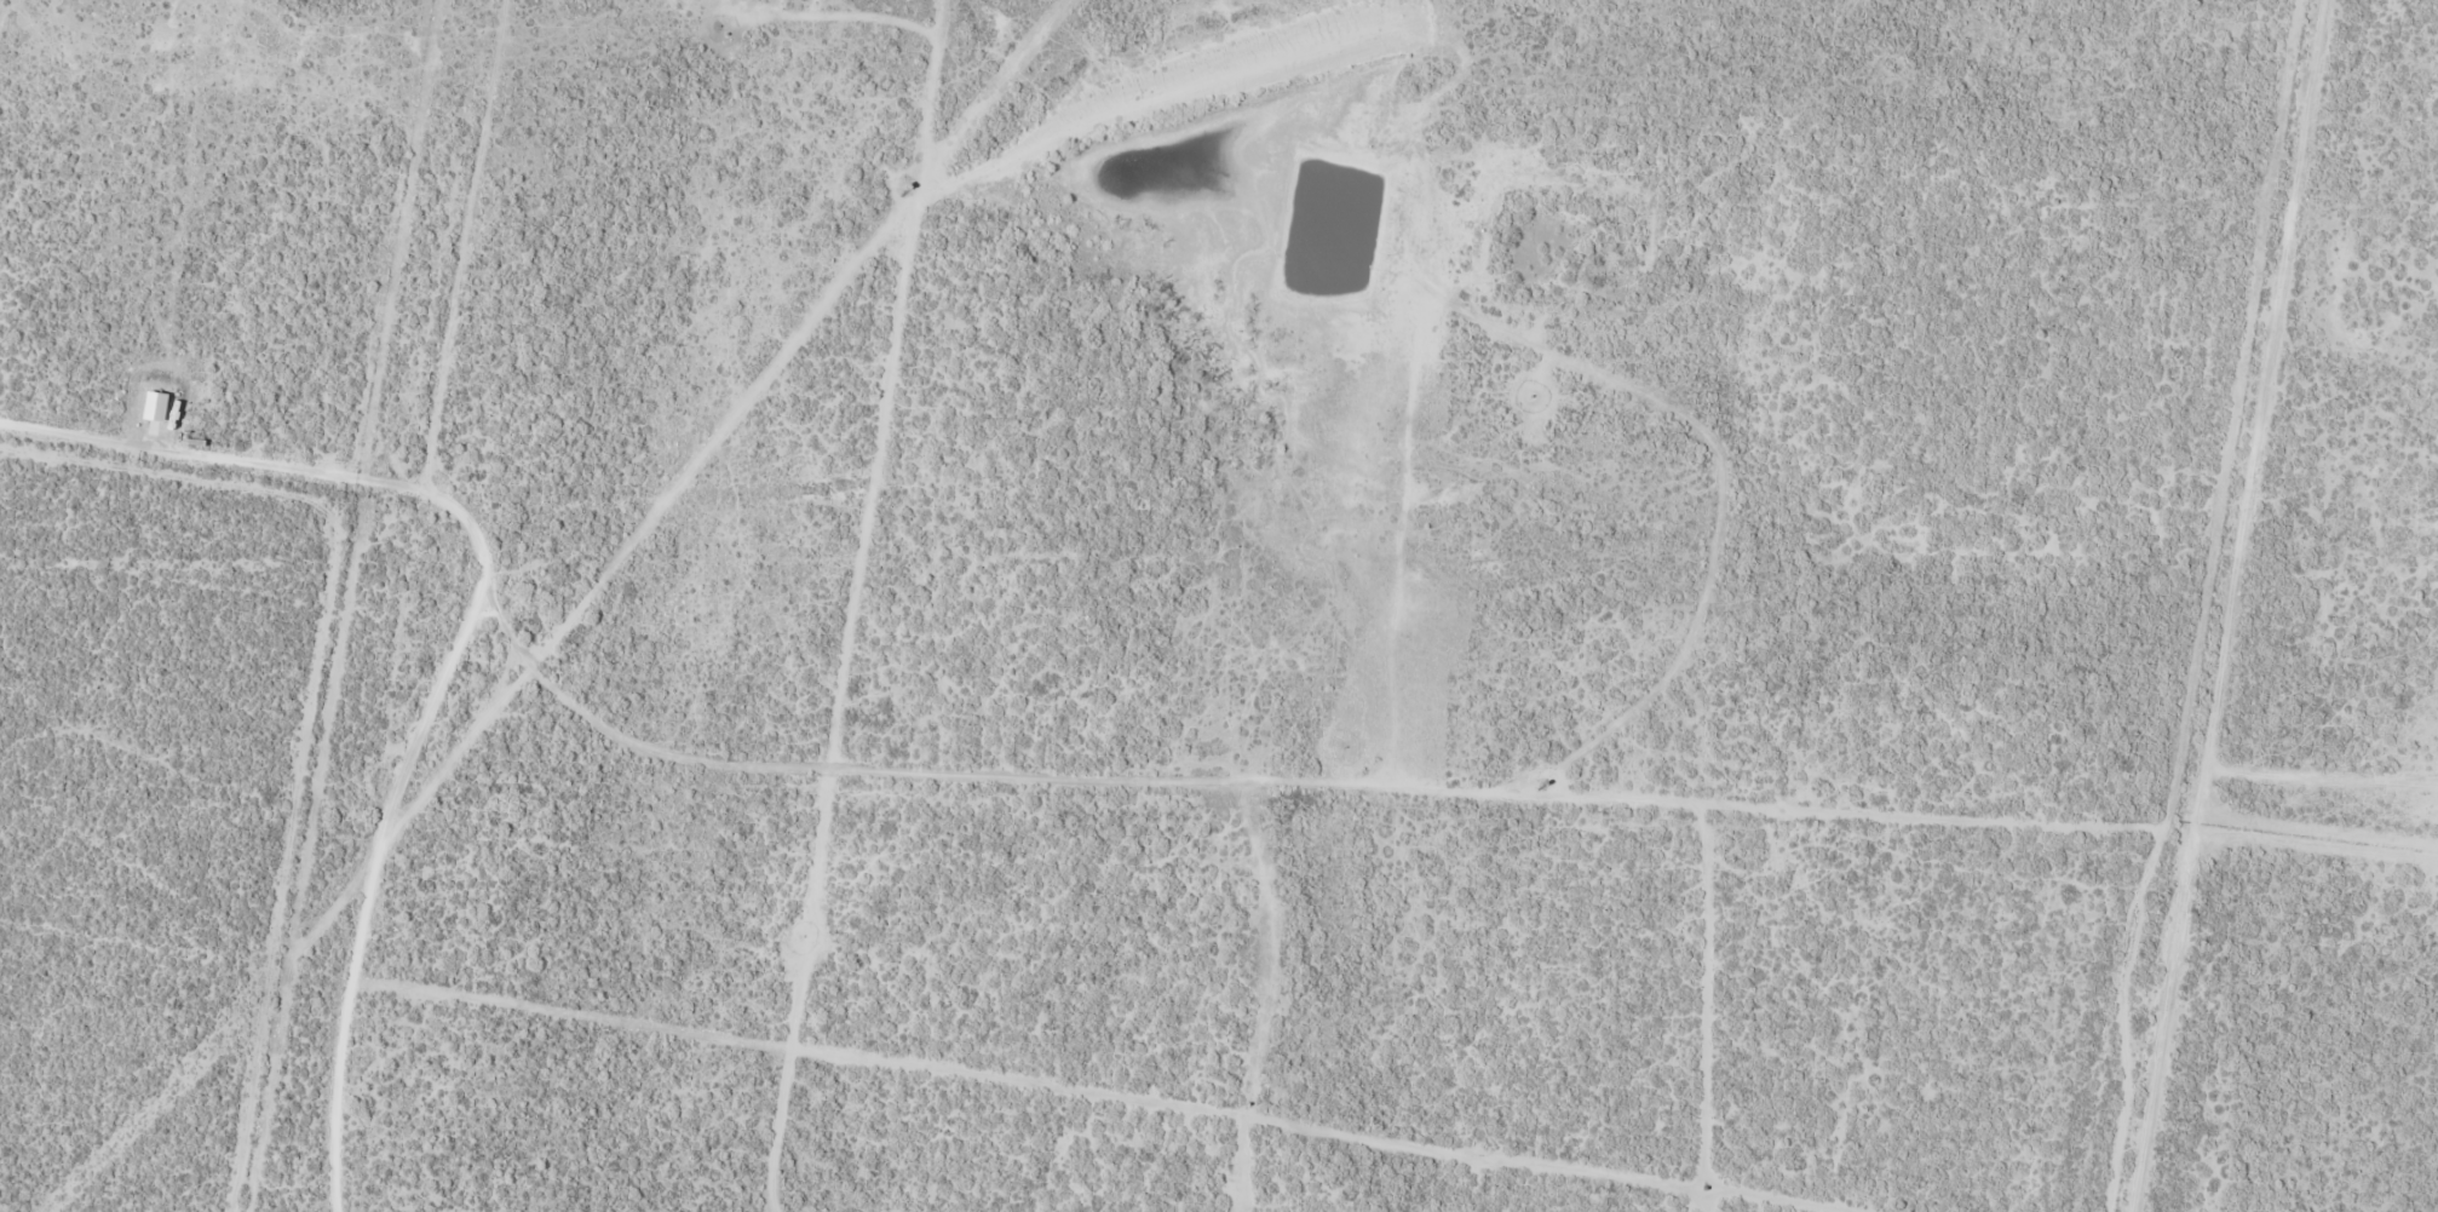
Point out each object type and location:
building: (155, 413)
road: (2266, 460)

